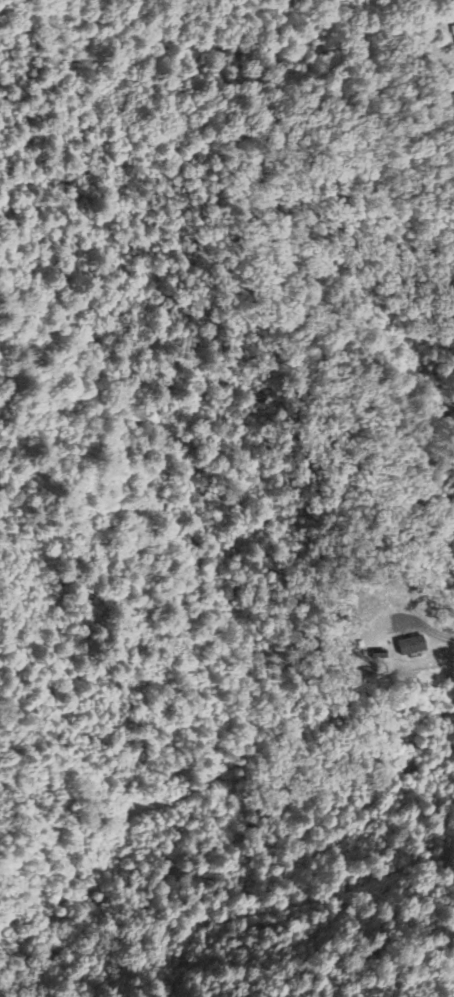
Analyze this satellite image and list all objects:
building: (453, 21)
building: (411, 647)

